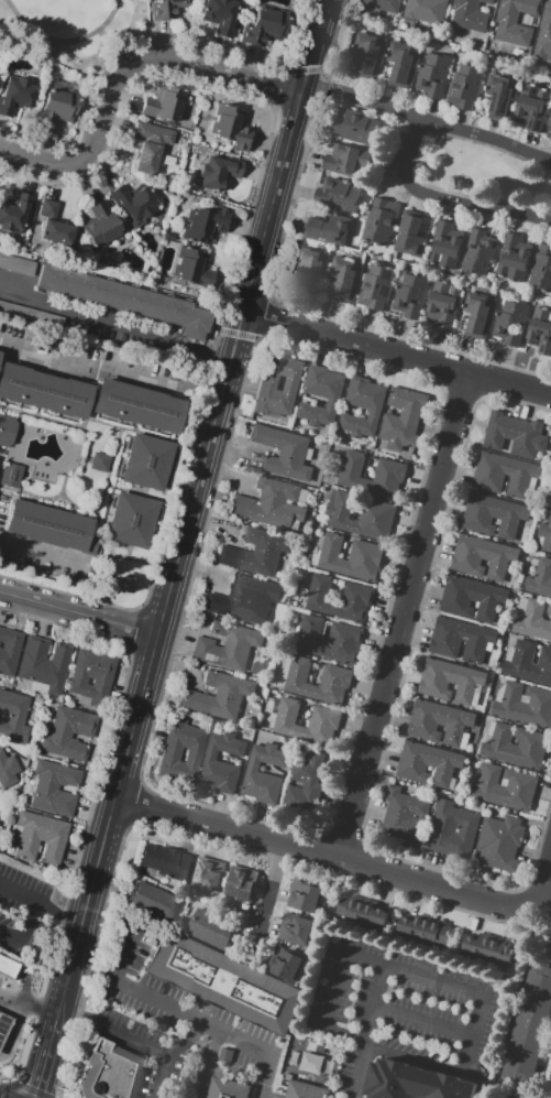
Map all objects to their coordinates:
building: (382, 7)
building: (166, 8)
building: (425, 11)
building: (471, 14)
building: (220, 15)
building: (516, 21)
building: (265, 26)
park: (67, 28)
road: (108, 36)
building: (544, 37)
road: (337, 39)
road: (65, 40)
building: (367, 53)
building: (403, 64)
building: (433, 74)
road: (129, 76)
building: (465, 86)
building: (18, 91)
building: (500, 96)
building: (58, 104)
building: (167, 105)
building: (532, 106)
road: (428, 120)
building: (549, 126)
building: (231, 127)
building: (354, 127)
building: (150, 145)
building: (343, 161)
building: (219, 173)
building: (344, 194)
road: (443, 198)
building: (134, 200)
building: (14, 214)
building: (381, 220)
building: (205, 224)
building: (55, 225)
building: (101, 225)
building: (327, 229)
building: (409, 235)
building: (444, 246)
building: (477, 252)
building: (513, 258)
building: (16, 264)
building: (310, 267)
building: (192, 268)
building: (541, 270)
building: (344, 278)
building: (375, 286)
building: (410, 296)
building: (126, 298)
building: (443, 304)
building: (480, 313)
building: (31, 316)
road: (242, 317)
building: (509, 322)
road: (115, 325)
building: (540, 330)
road: (397, 350)
building: (0, 354)
road: (111, 373)
building: (268, 382)
building: (45, 390)
building: (321, 396)
building: (139, 405)
building: (363, 406)
building: (403, 418)
building: (7, 430)
building: (515, 435)
building: (283, 453)
building: (100, 461)
building: (147, 463)
building: (389, 470)
building: (10, 474)
building: (505, 474)
building: (548, 501)
building: (272, 504)
building: (493, 515)
building: (360, 517)
building: (131, 520)
building: (47, 525)
building: (544, 535)
road: (41, 550)
building: (257, 552)
building: (483, 557)
building: (351, 558)
building: (540, 579)
building: (471, 598)
building: (243, 599)
building: (339, 599)
building: (549, 609)
road: (80, 612)
road: (405, 613)
building: (533, 621)
building: (329, 640)
building: (461, 640)
building: (228, 645)
building: (9, 651)
building: (528, 662)
building: (44, 664)
building: (335, 676)
building: (90, 677)
building: (451, 682)
building: (218, 696)
building: (522, 704)
building: (13, 717)
building: (323, 717)
building: (440, 724)
building: (68, 732)
building: (516, 746)
building: (170, 754)
building: (222, 762)
building: (428, 763)
building: (8, 769)
building: (264, 774)
building: (307, 783)
building: (54, 787)
building: (505, 787)
building: (404, 817)
building: (452, 829)
road: (109, 831)
building: (41, 837)
building: (499, 842)
road: (324, 852)
building: (165, 860)
building: (206, 877)
building: (242, 884)
road: (543, 885)
road: (267, 887)
building: (304, 895)
building: (153, 901)
parking lot: (20, 905)
road: (42, 905)
building: (362, 912)
road: (540, 913)
road: (25, 928)
building: (212, 930)
building: (296, 930)
building: (423, 930)
building: (487, 948)
road: (124, 955)
building: (286, 964)
building: (7, 967)
road: (403, 971)
road: (24, 974)
parking lot: (0, 979)
building: (224, 981)
road: (30, 1001)
road: (190, 1017)
road: (422, 1020)
building: (3, 1024)
gas station: (3, 1025)
building: (528, 1030)
road: (133, 1037)
road: (187, 1042)
road: (45, 1063)
road: (208, 1063)
road: (360, 1070)
building: (111, 1072)
building: (415, 1081)
building: (228, 1089)
building: (305, 1090)
building: (549, 1092)

